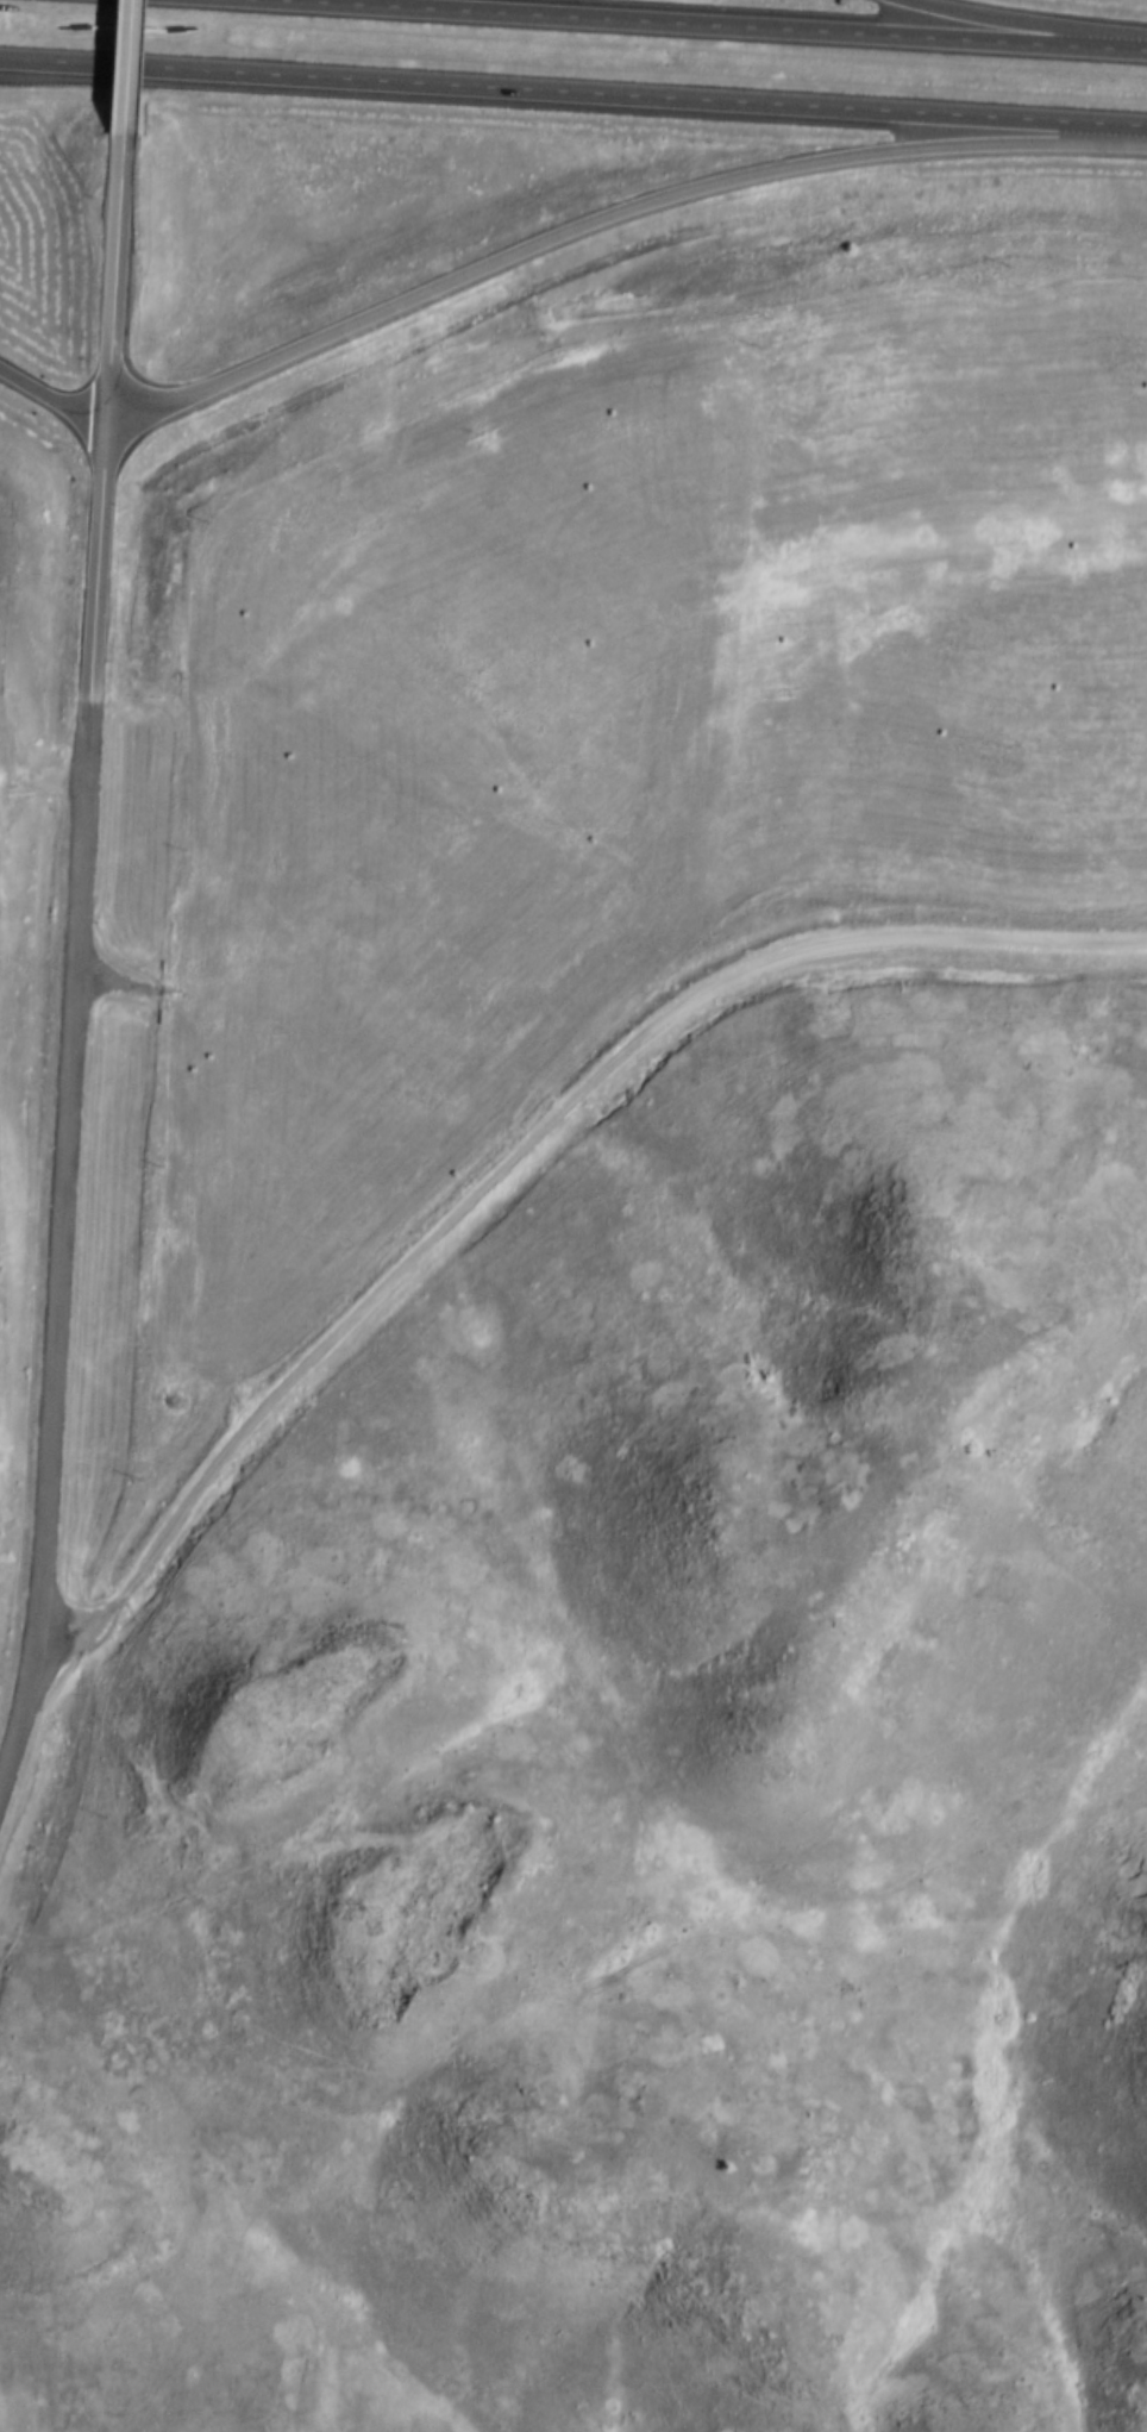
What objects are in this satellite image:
road: (667, 27)
road: (1020, 27)
road: (131, 65)
road: (573, 105)
road: (608, 227)
road: (109, 409)
road: (54, 414)
road: (519, 1165)
road: (65, 1173)
road: (18, 1717)

